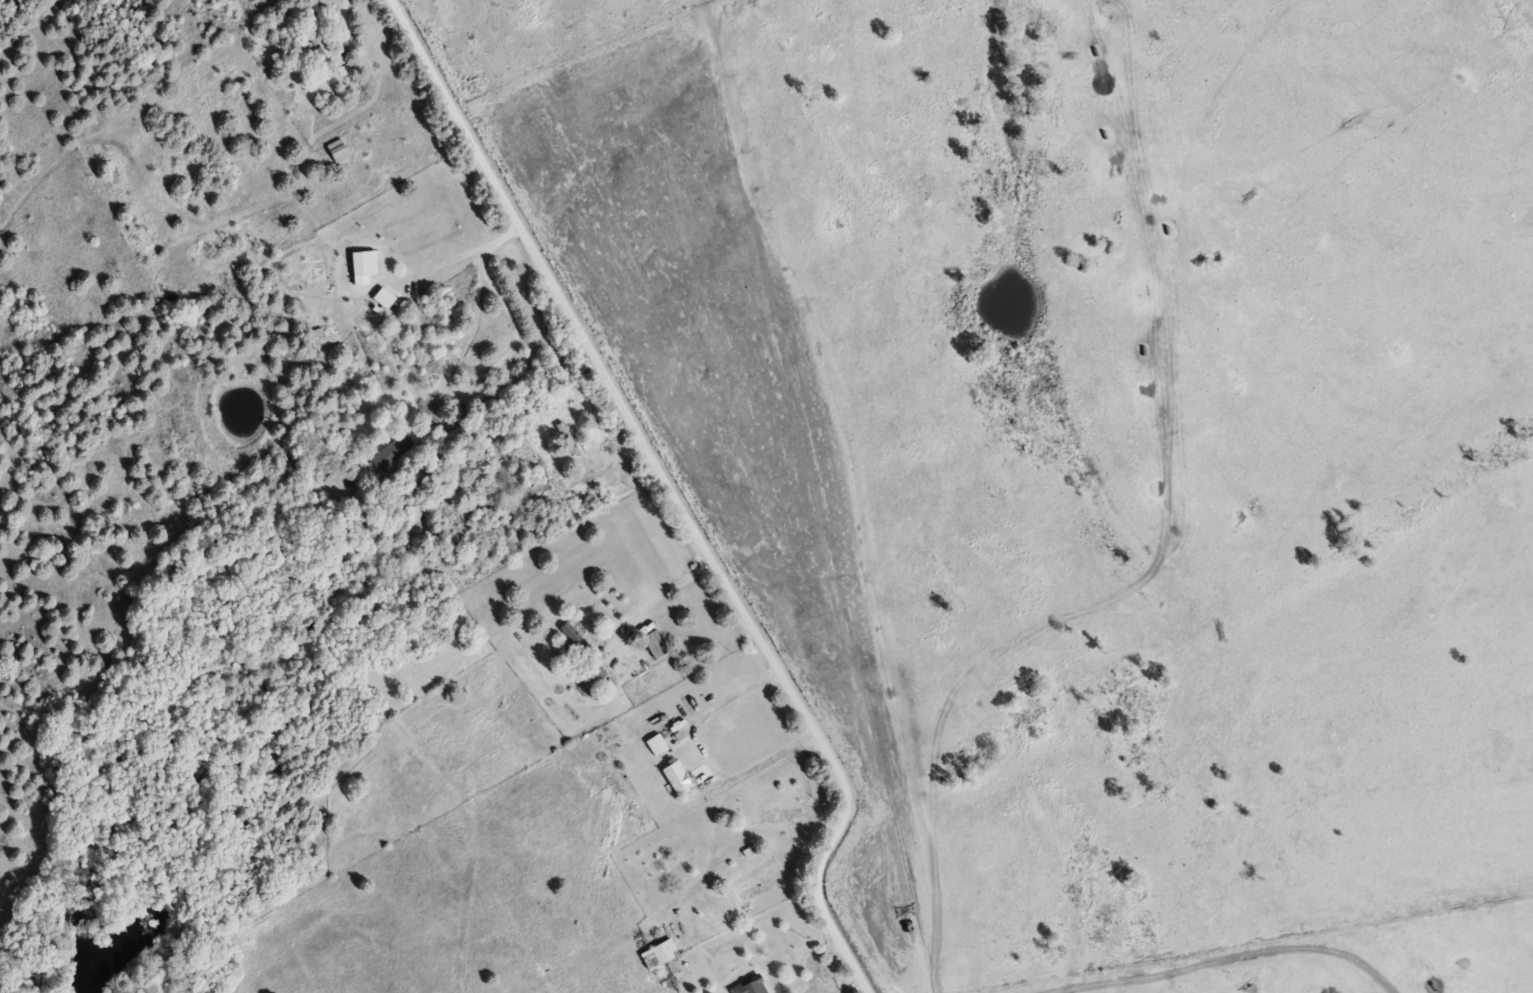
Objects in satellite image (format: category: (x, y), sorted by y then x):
road: (345, 29)
building: (318, 38)
road: (481, 255)
building: (559, 428)
building: (567, 445)
building: (398, 449)
road: (669, 492)
road: (657, 603)
building: (572, 640)
building: (649, 643)
building: (590, 678)
building: (650, 744)
building: (671, 776)
building: (771, 814)
road: (553, 899)
building: (653, 953)
building: (746, 985)

